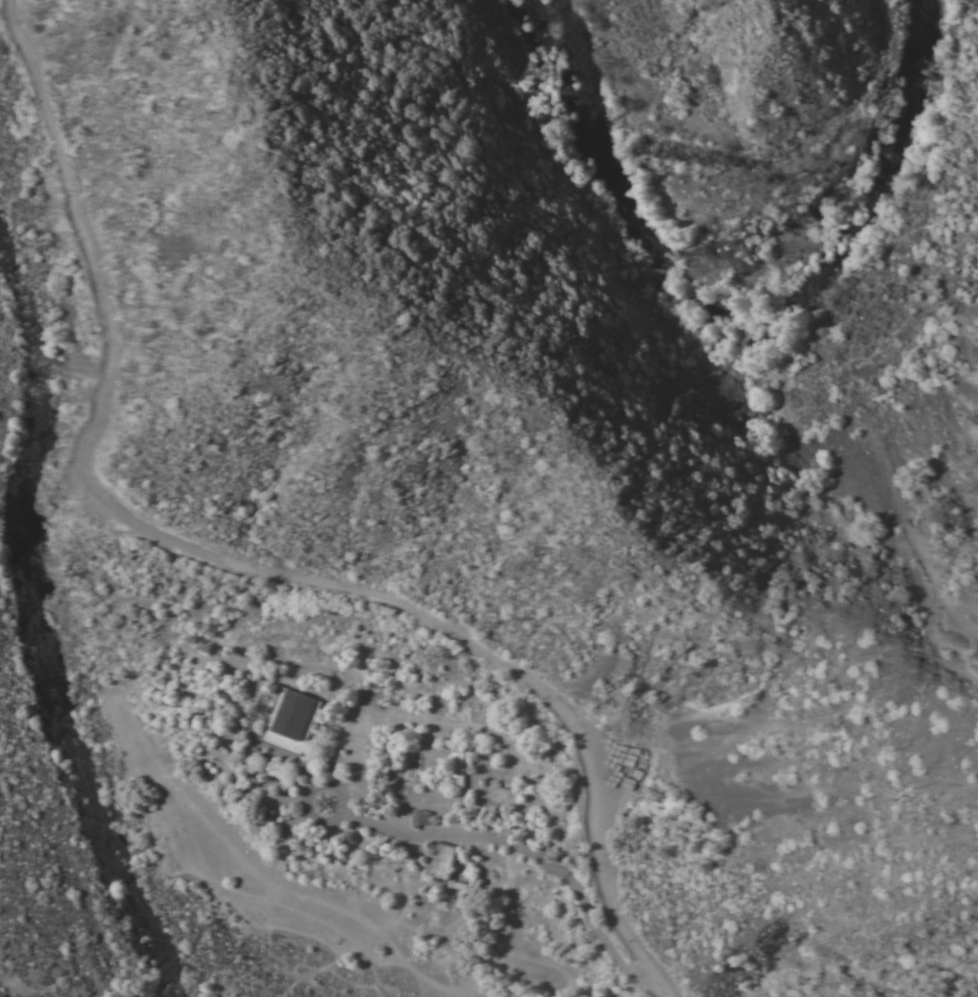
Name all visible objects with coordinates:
river: (742, 239)
river: (785, 305)
road: (754, 415)
road: (241, 566)
river: (49, 632)
building: (292, 720)
building: (457, 769)
building: (422, 818)
building: (352, 836)
road: (523, 848)
building: (443, 859)
building: (361, 870)
building: (467, 887)

